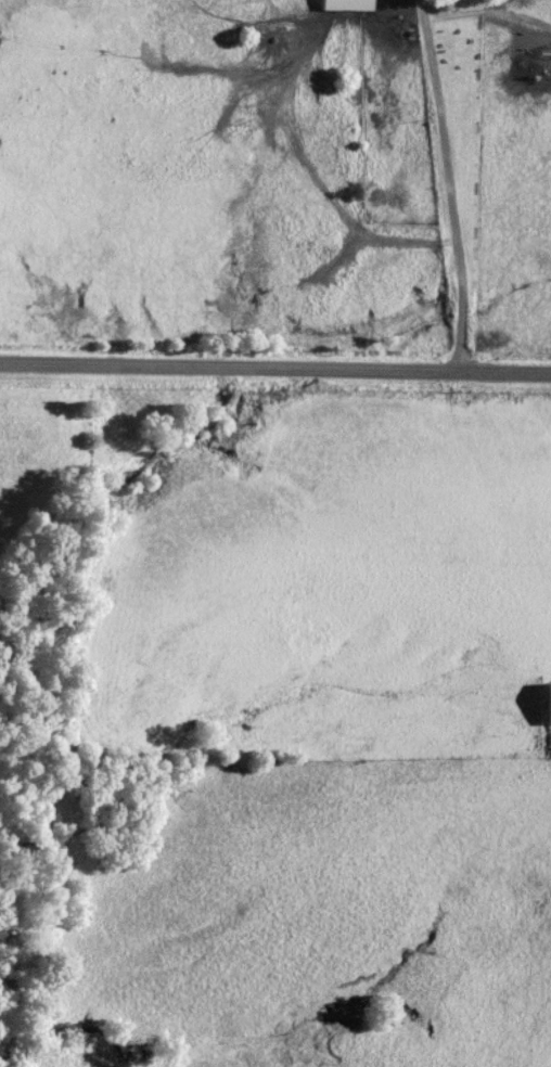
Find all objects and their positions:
building: (347, 5)
road: (449, 185)
road: (275, 372)
building: (549, 705)

